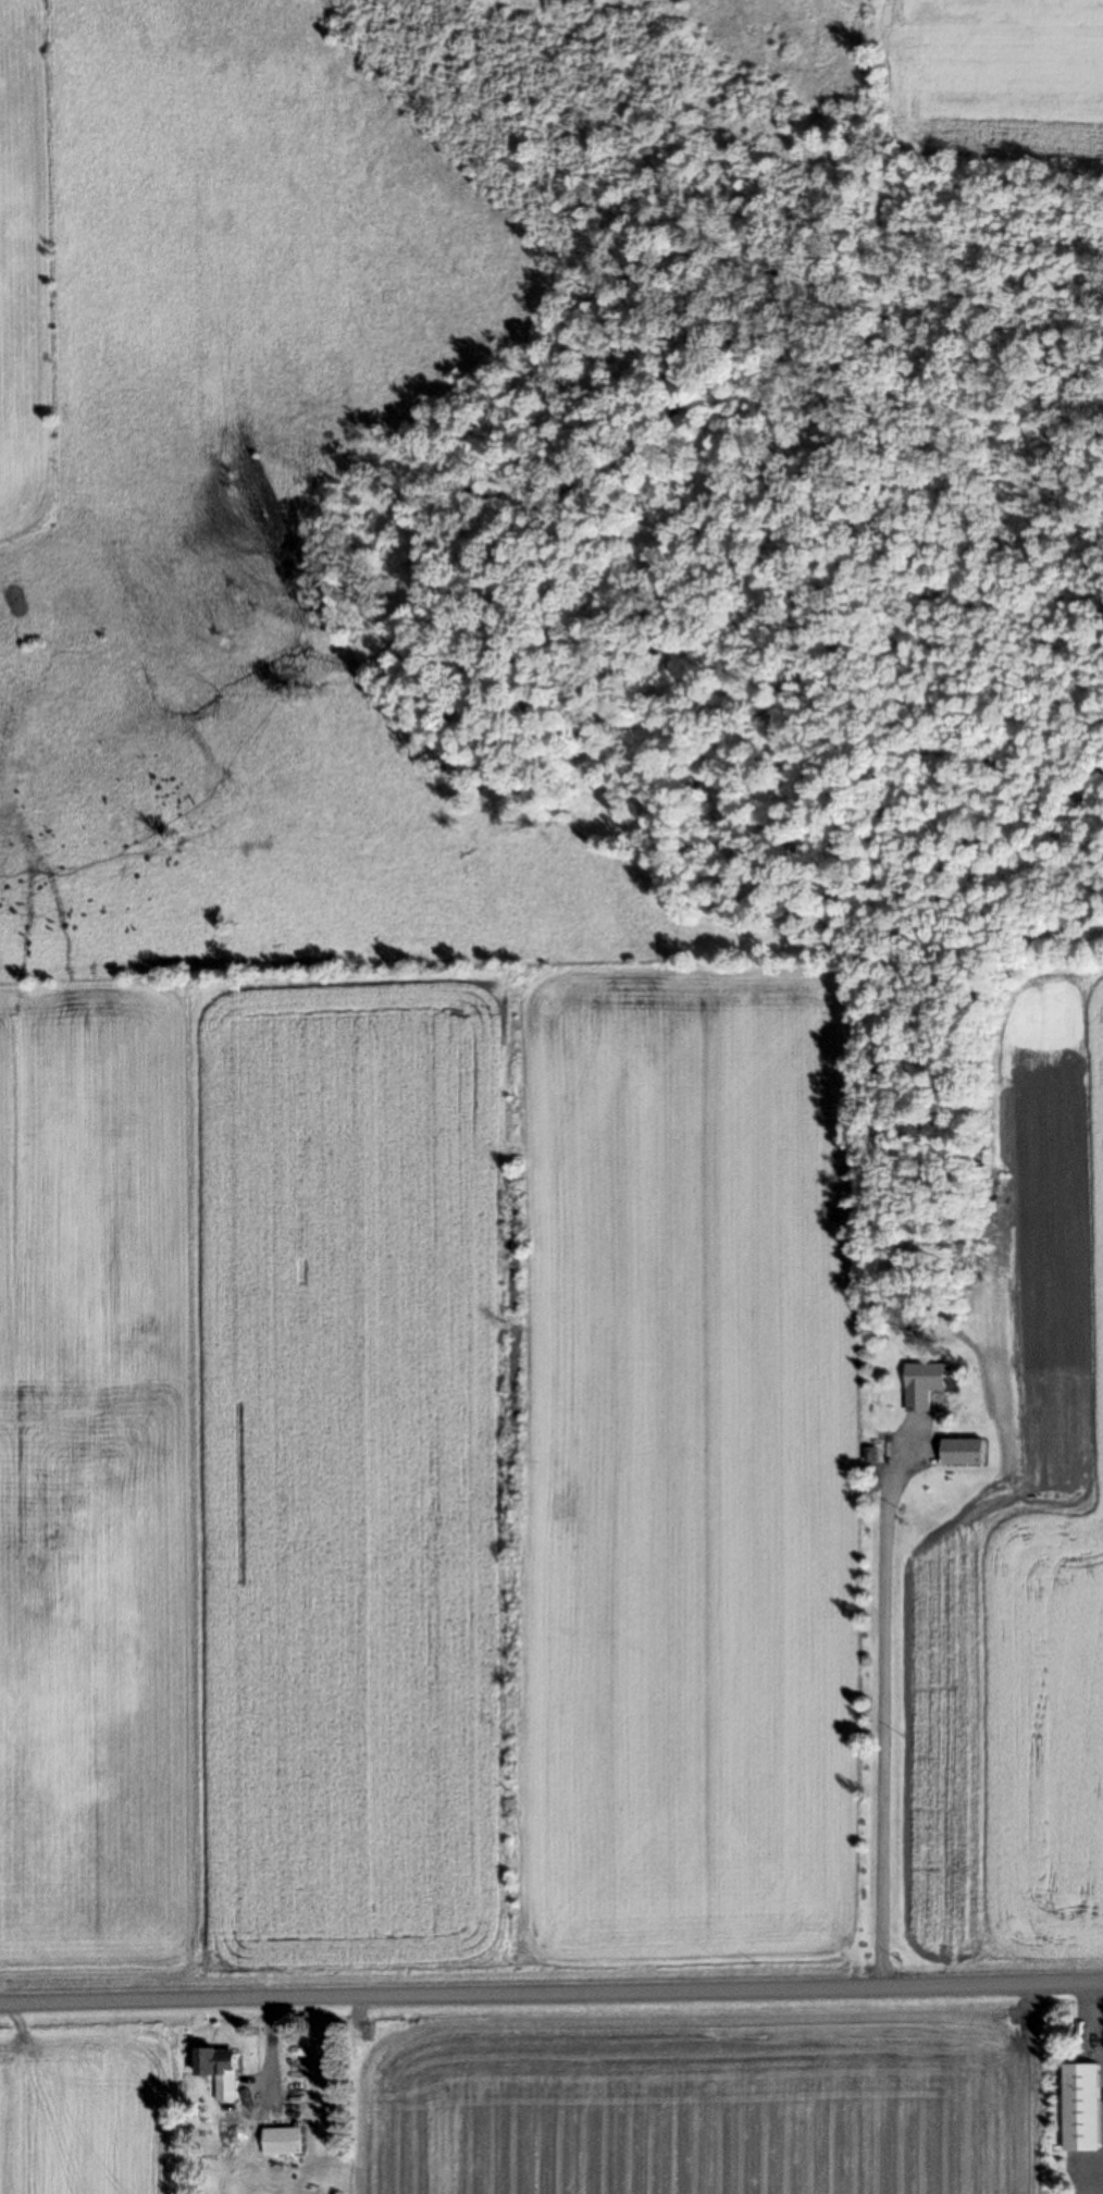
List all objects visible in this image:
building: (927, 1383)
building: (873, 1454)
road: (551, 1992)
building: (223, 2071)
building: (1085, 2106)
building: (230, 2127)
building: (287, 2141)

